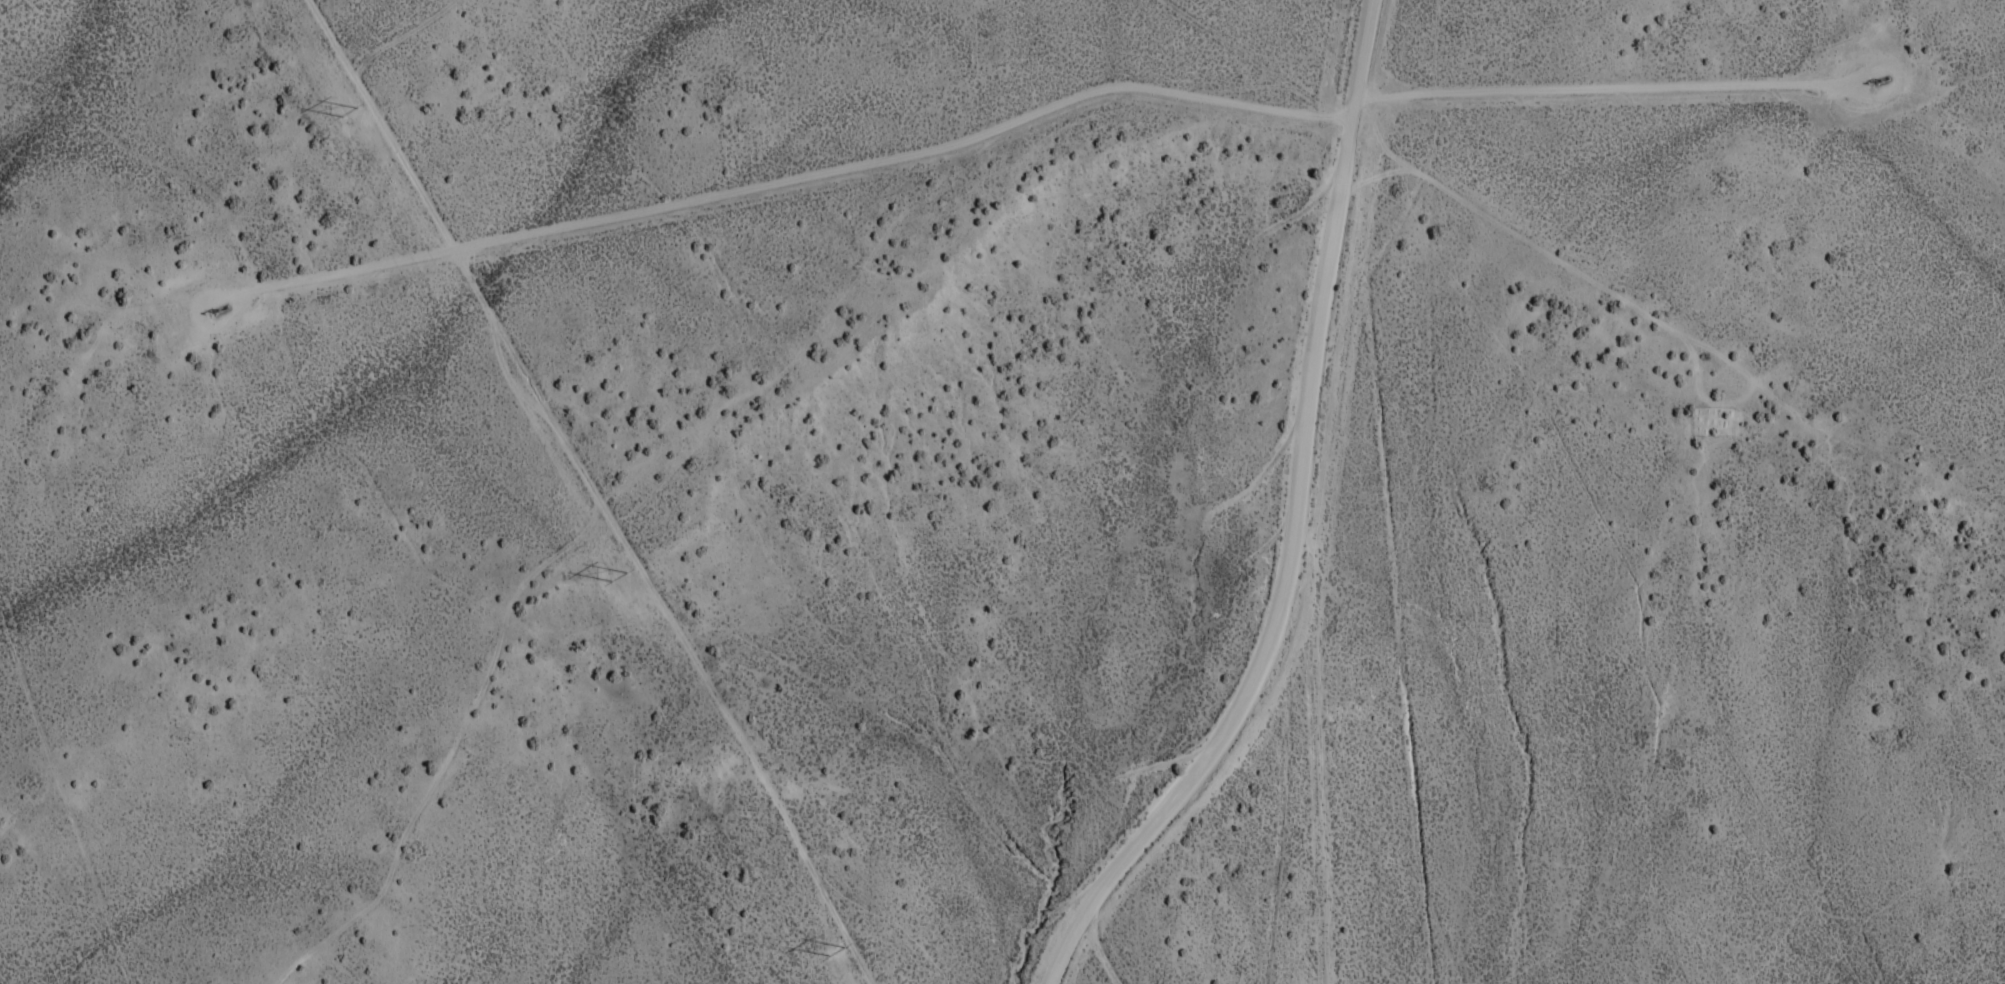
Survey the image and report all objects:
power tower: (349, 125)
road: (1303, 532)
power tower: (613, 573)
power tower: (830, 950)

